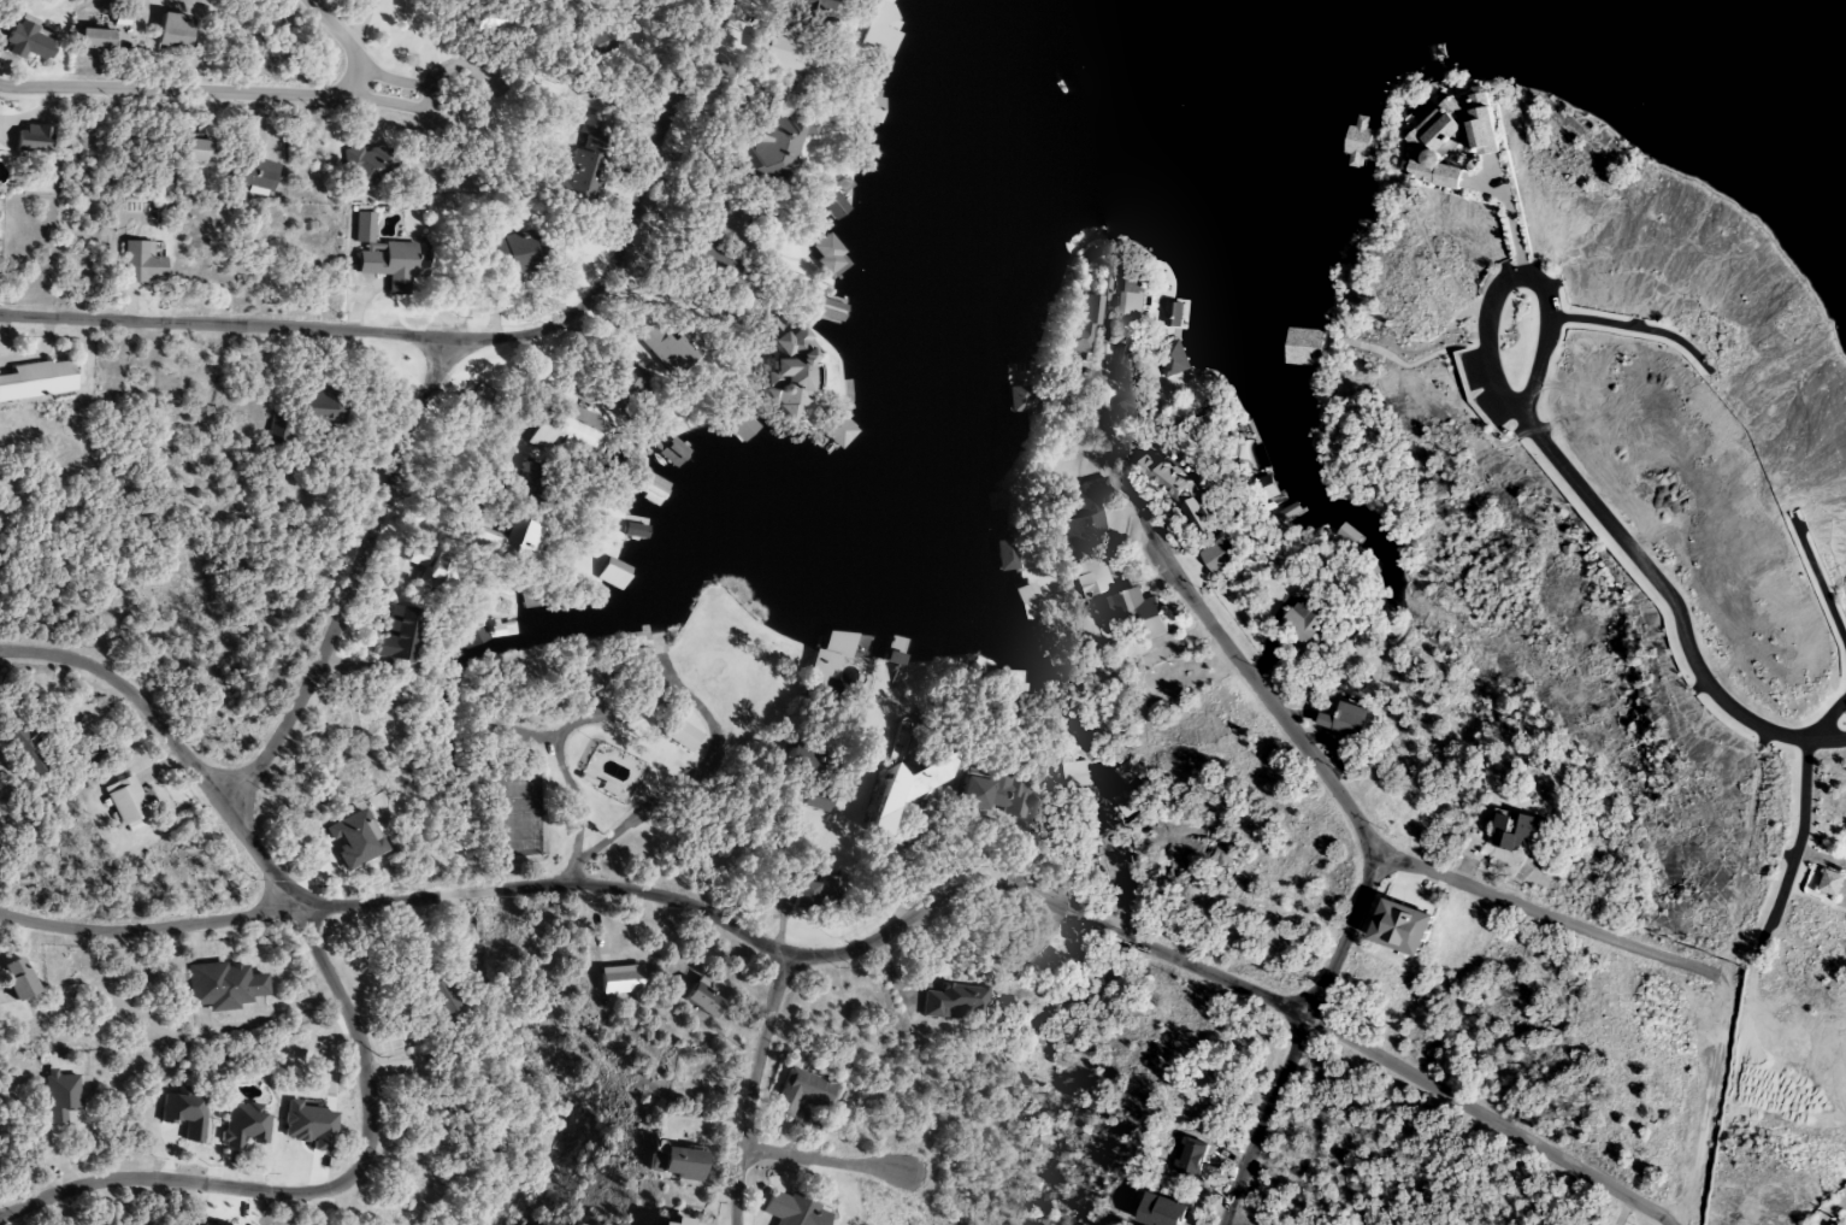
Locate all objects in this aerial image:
building: (804, 13)
building: (879, 26)
building: (171, 31)
road: (342, 35)
building: (90, 39)
building: (23, 42)
building: (602, 42)
building: (789, 61)
building: (1443, 63)
road: (179, 88)
road: (400, 89)
building: (866, 101)
building: (33, 140)
building: (1445, 143)
building: (773, 145)
building: (1360, 149)
building: (194, 151)
building: (368, 166)
building: (253, 175)
building: (583, 178)
building: (832, 202)
road: (627, 223)
building: (732, 225)
building: (1084, 251)
building: (828, 254)
building: (383, 255)
building: (509, 255)
building: (140, 263)
road: (1517, 276)
building: (736, 291)
building: (828, 307)
building: (1131, 312)
building: (1095, 313)
building: (1174, 322)
road: (223, 323)
road: (1635, 326)
building: (1071, 332)
building: (668, 348)
building: (1301, 351)
building: (791, 361)
building: (1173, 363)
building: (1014, 376)
building: (35, 381)
building: (620, 393)
building: (320, 404)
building: (1018, 404)
building: (741, 423)
building: (838, 429)
building: (278, 430)
building: (568, 431)
building: (671, 450)
building: (644, 485)
building: (997, 505)
building: (1081, 517)
building: (1286, 519)
building: (635, 524)
building: (506, 541)
building: (1345, 541)
building: (1217, 558)
building: (1005, 561)
building: (427, 569)
building: (612, 570)
building: (1090, 578)
road: (1818, 579)
road: (352, 581)
road: (1676, 601)
building: (1027, 605)
building: (1137, 613)
building: (1301, 626)
building: (473, 634)
building: (1043, 635)
building: (396, 636)
building: (848, 648)
building: (961, 653)
building: (896, 658)
road: (134, 696)
road: (700, 707)
building: (1345, 720)
building: (683, 736)
building: (28, 748)
building: (804, 758)
road: (1327, 776)
building: (903, 791)
building: (979, 793)
building: (818, 799)
building: (126, 802)
road: (1801, 807)
building: (1516, 831)
road: (261, 862)
road: (576, 873)
building: (814, 893)
road: (1550, 914)
road: (872, 941)
building: (16, 978)
building: (619, 979)
building: (224, 984)
building: (435, 993)
building: (702, 1000)
building: (955, 1002)
road: (753, 1088)
building: (800, 1091)
building: (59, 1095)
road: (1706, 1106)
building: (183, 1111)
building: (244, 1125)
road: (821, 1159)
building: (678, 1162)
road: (313, 1191)
building: (792, 1209)
building: (1158, 1211)
road: (1841, 1217)
road: (1234, 1220)
building: (670, 1223)

